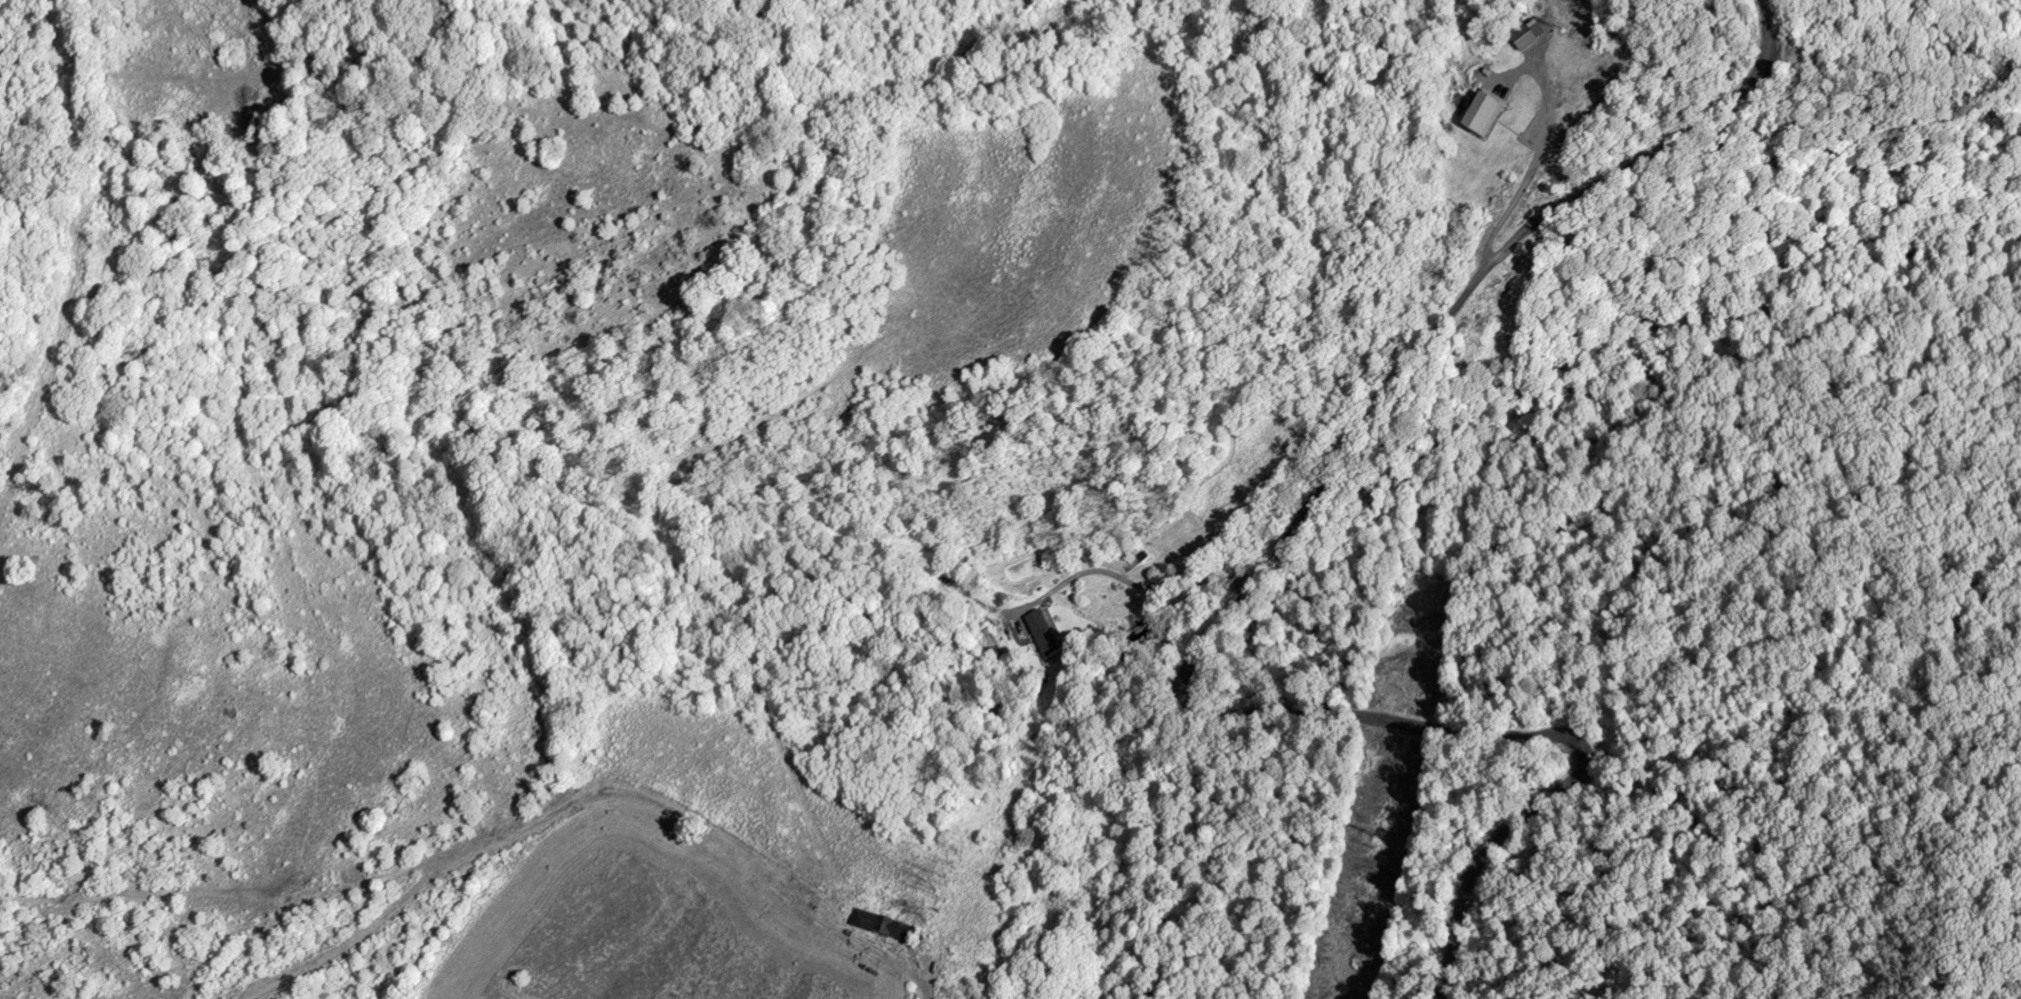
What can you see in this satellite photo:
power tower: (1557, 28)
building: (1522, 41)
building: (1482, 114)
road: (1529, 169)
road: (1368, 422)
road: (1131, 581)
building: (1031, 637)
road: (576, 801)
road: (1539, 806)
power tower: (1380, 839)
building: (882, 928)

